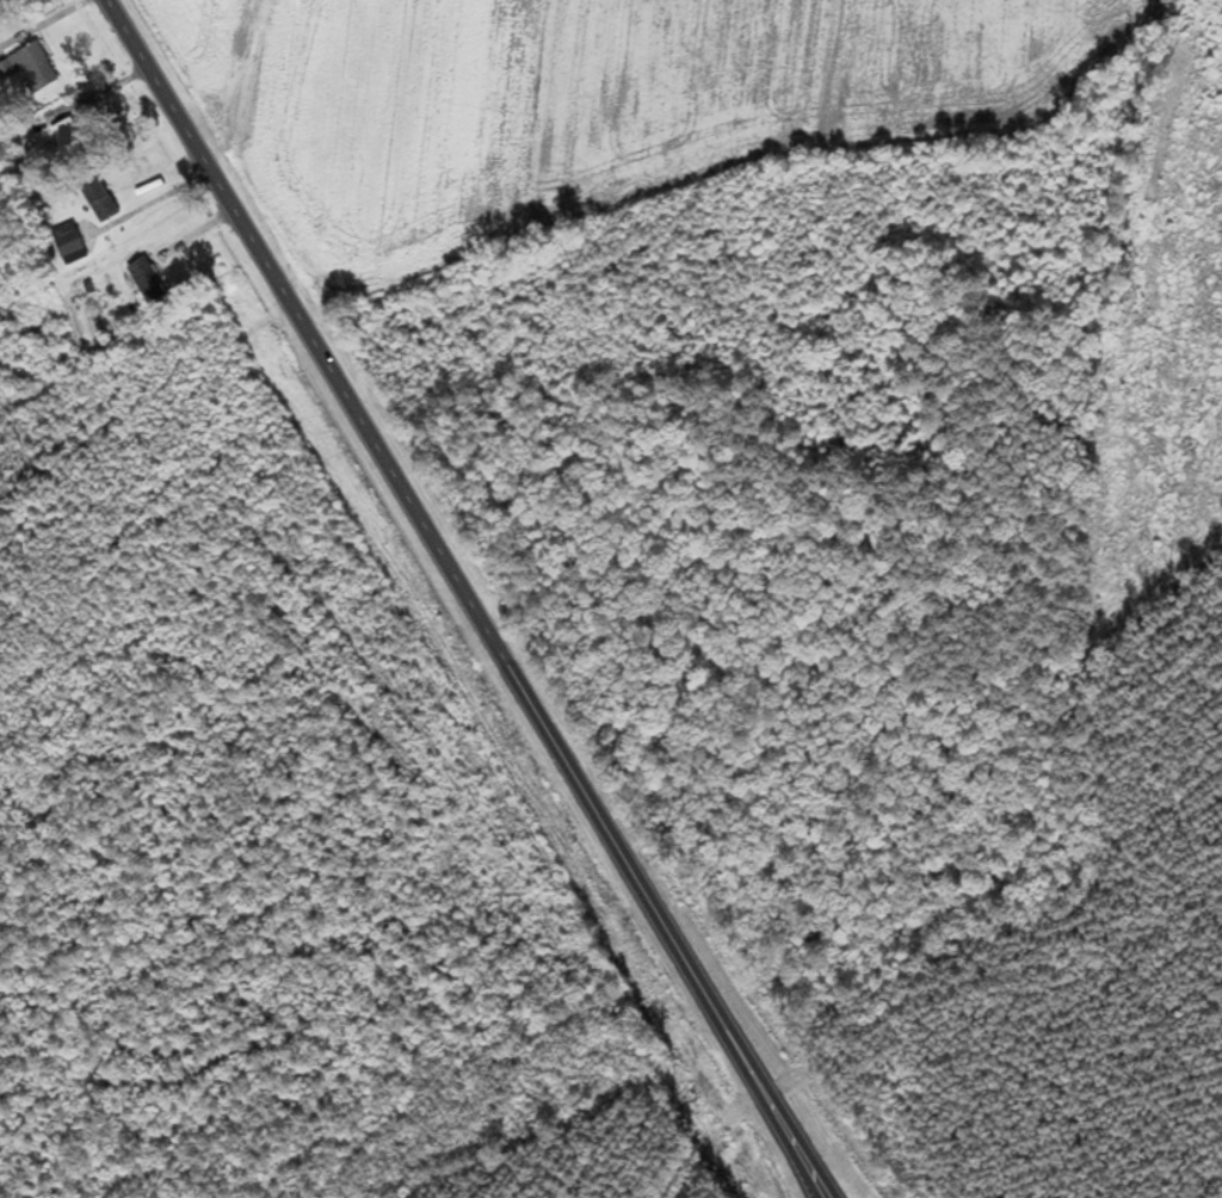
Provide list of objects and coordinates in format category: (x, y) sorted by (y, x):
building: (29, 66)
building: (66, 137)
building: (97, 198)
building: (146, 280)
road: (462, 601)
road: (733, 1144)

